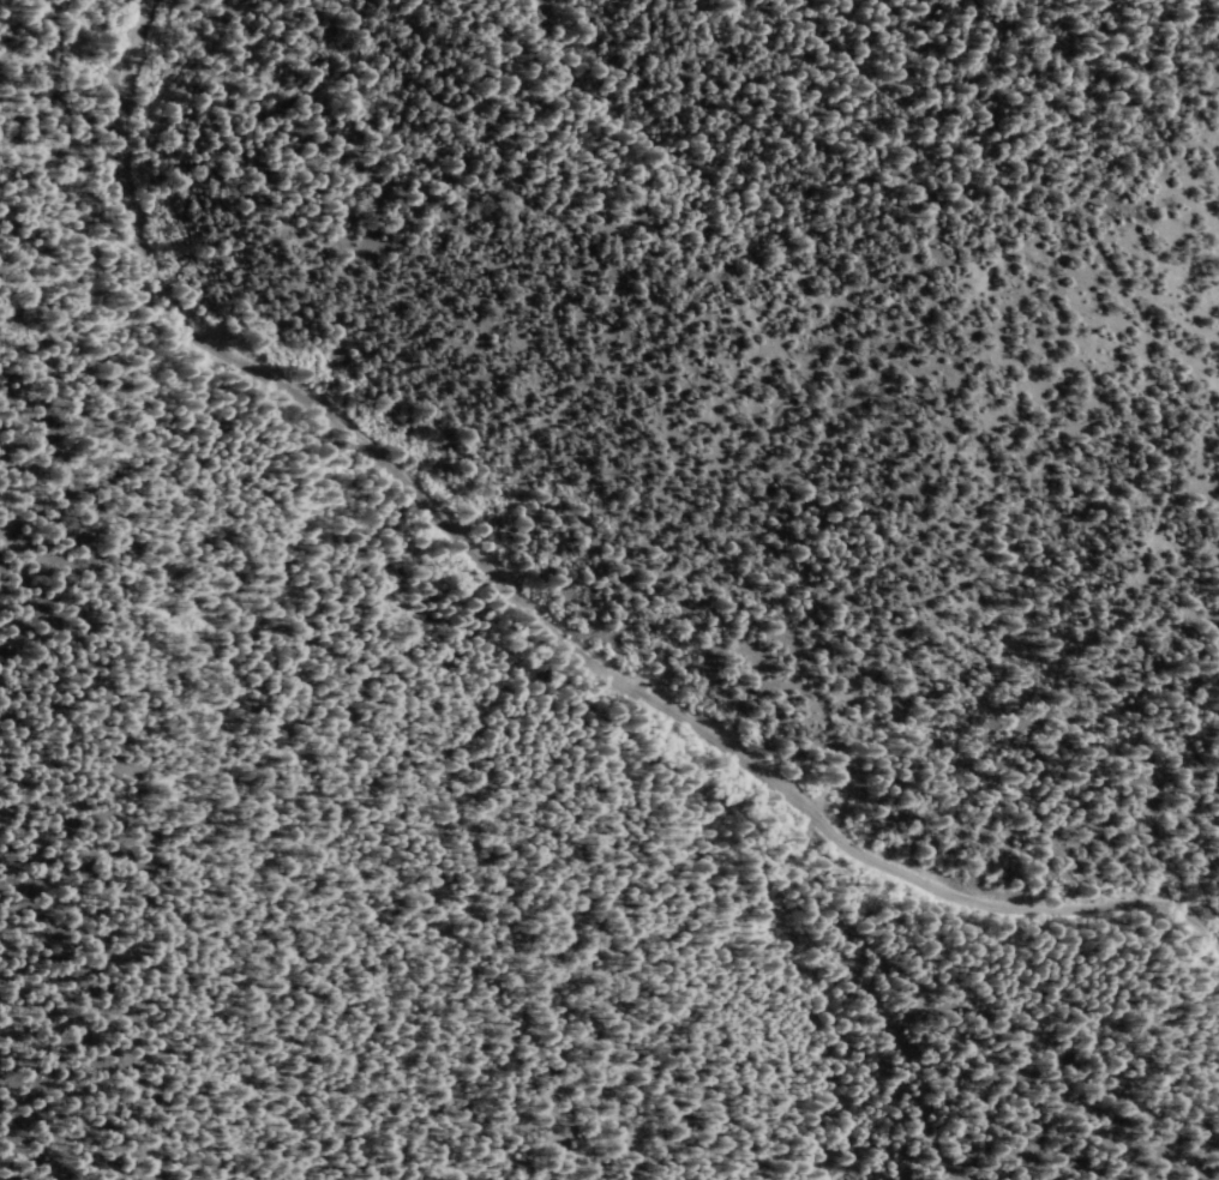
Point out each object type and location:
road: (508, 600)

